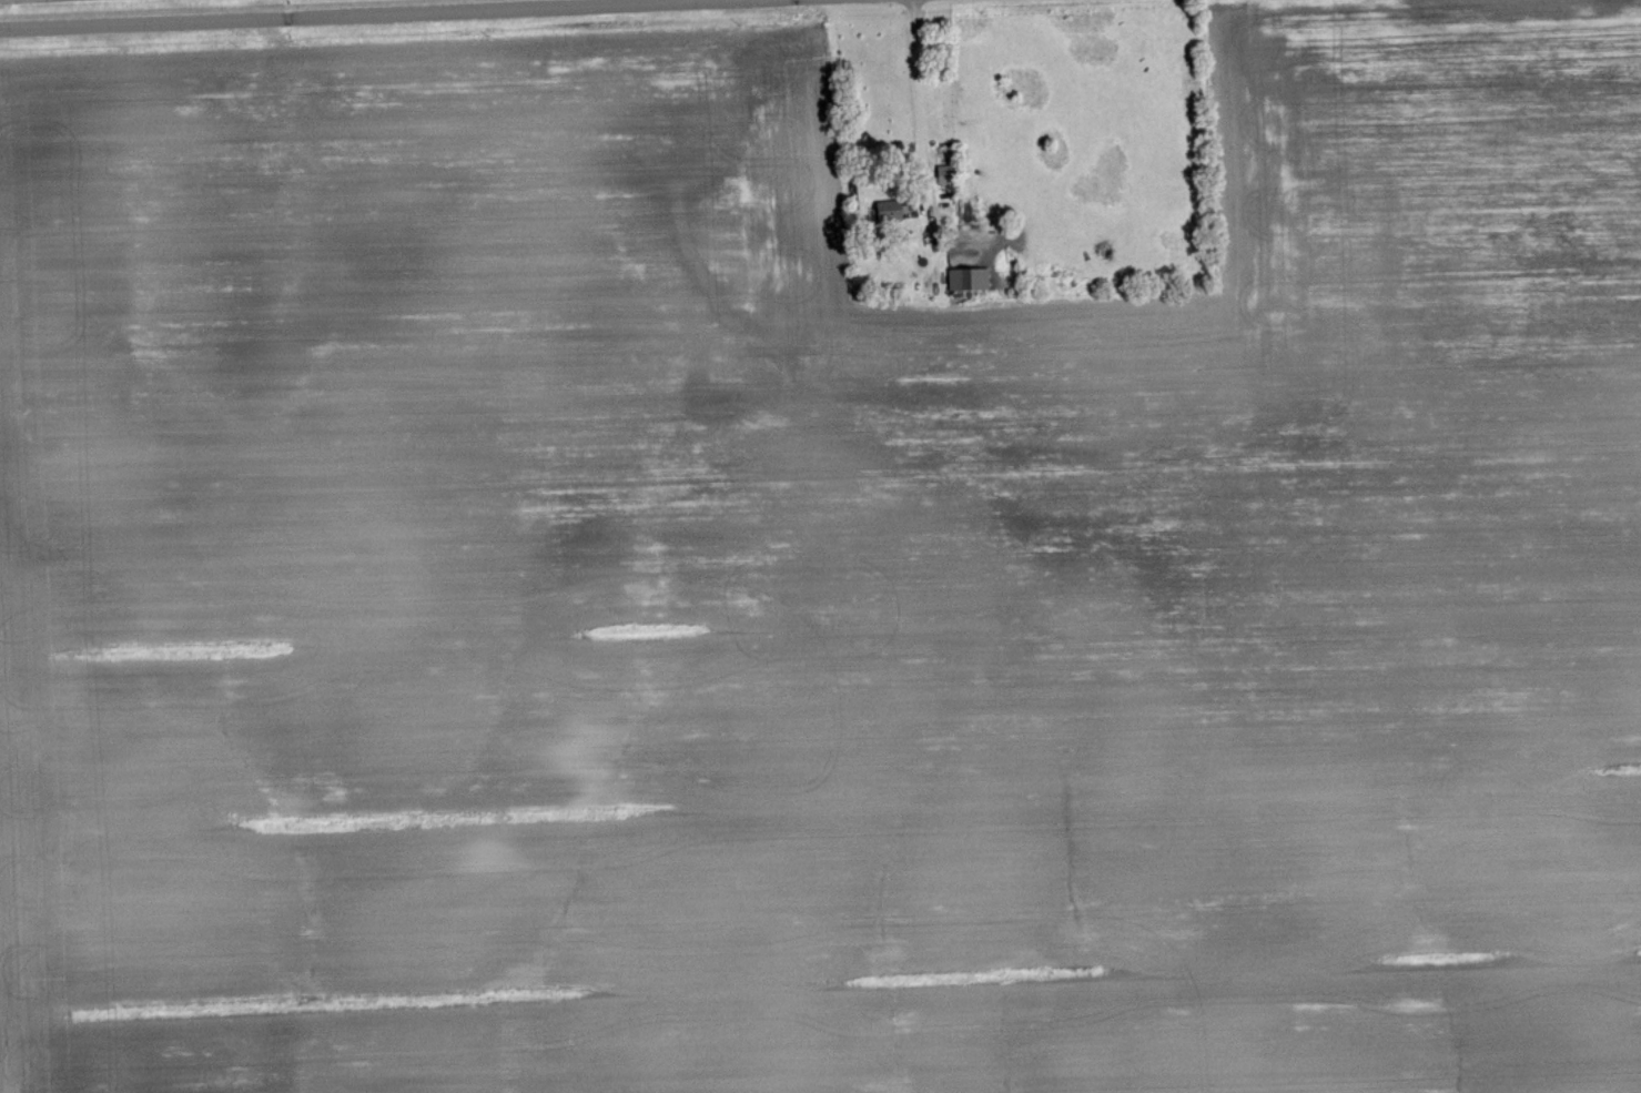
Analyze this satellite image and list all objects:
road: (356, 14)
building: (893, 213)

